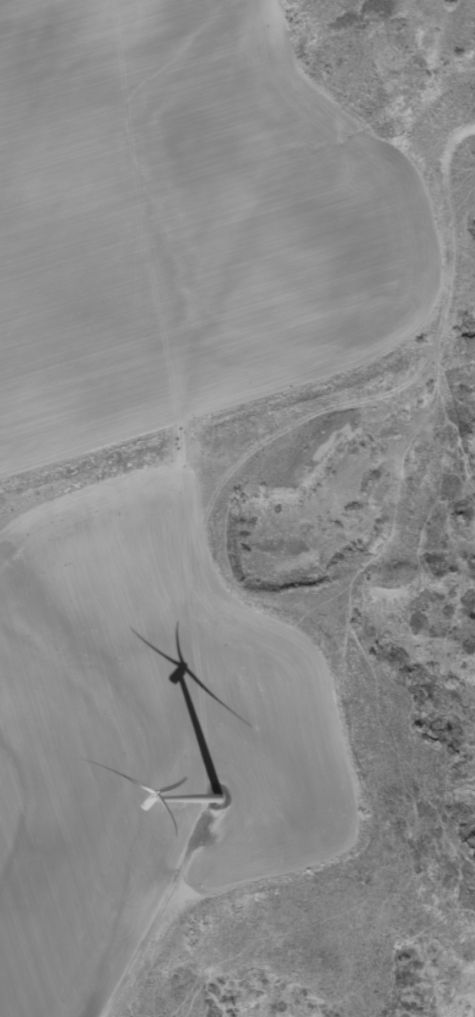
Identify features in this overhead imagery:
road: (352, 73)
wind turbine: (217, 800)

